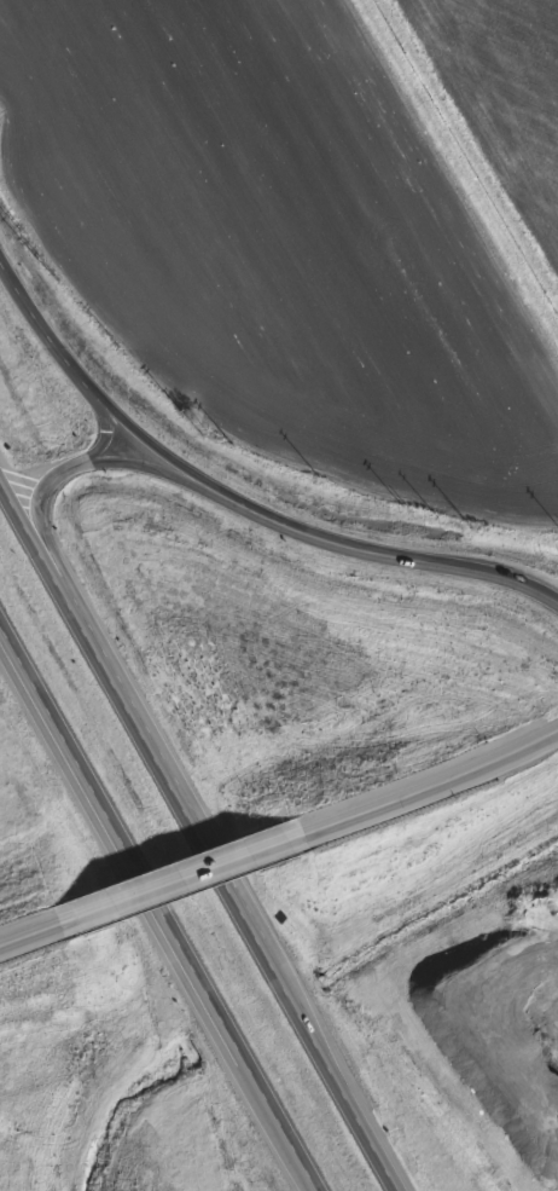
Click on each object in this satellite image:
road: (92, 391)
road: (105, 438)
road: (152, 467)
road: (53, 548)
road: (385, 551)
road: (432, 791)
road: (200, 834)
road: (184, 888)
road: (158, 912)
road: (31, 944)

